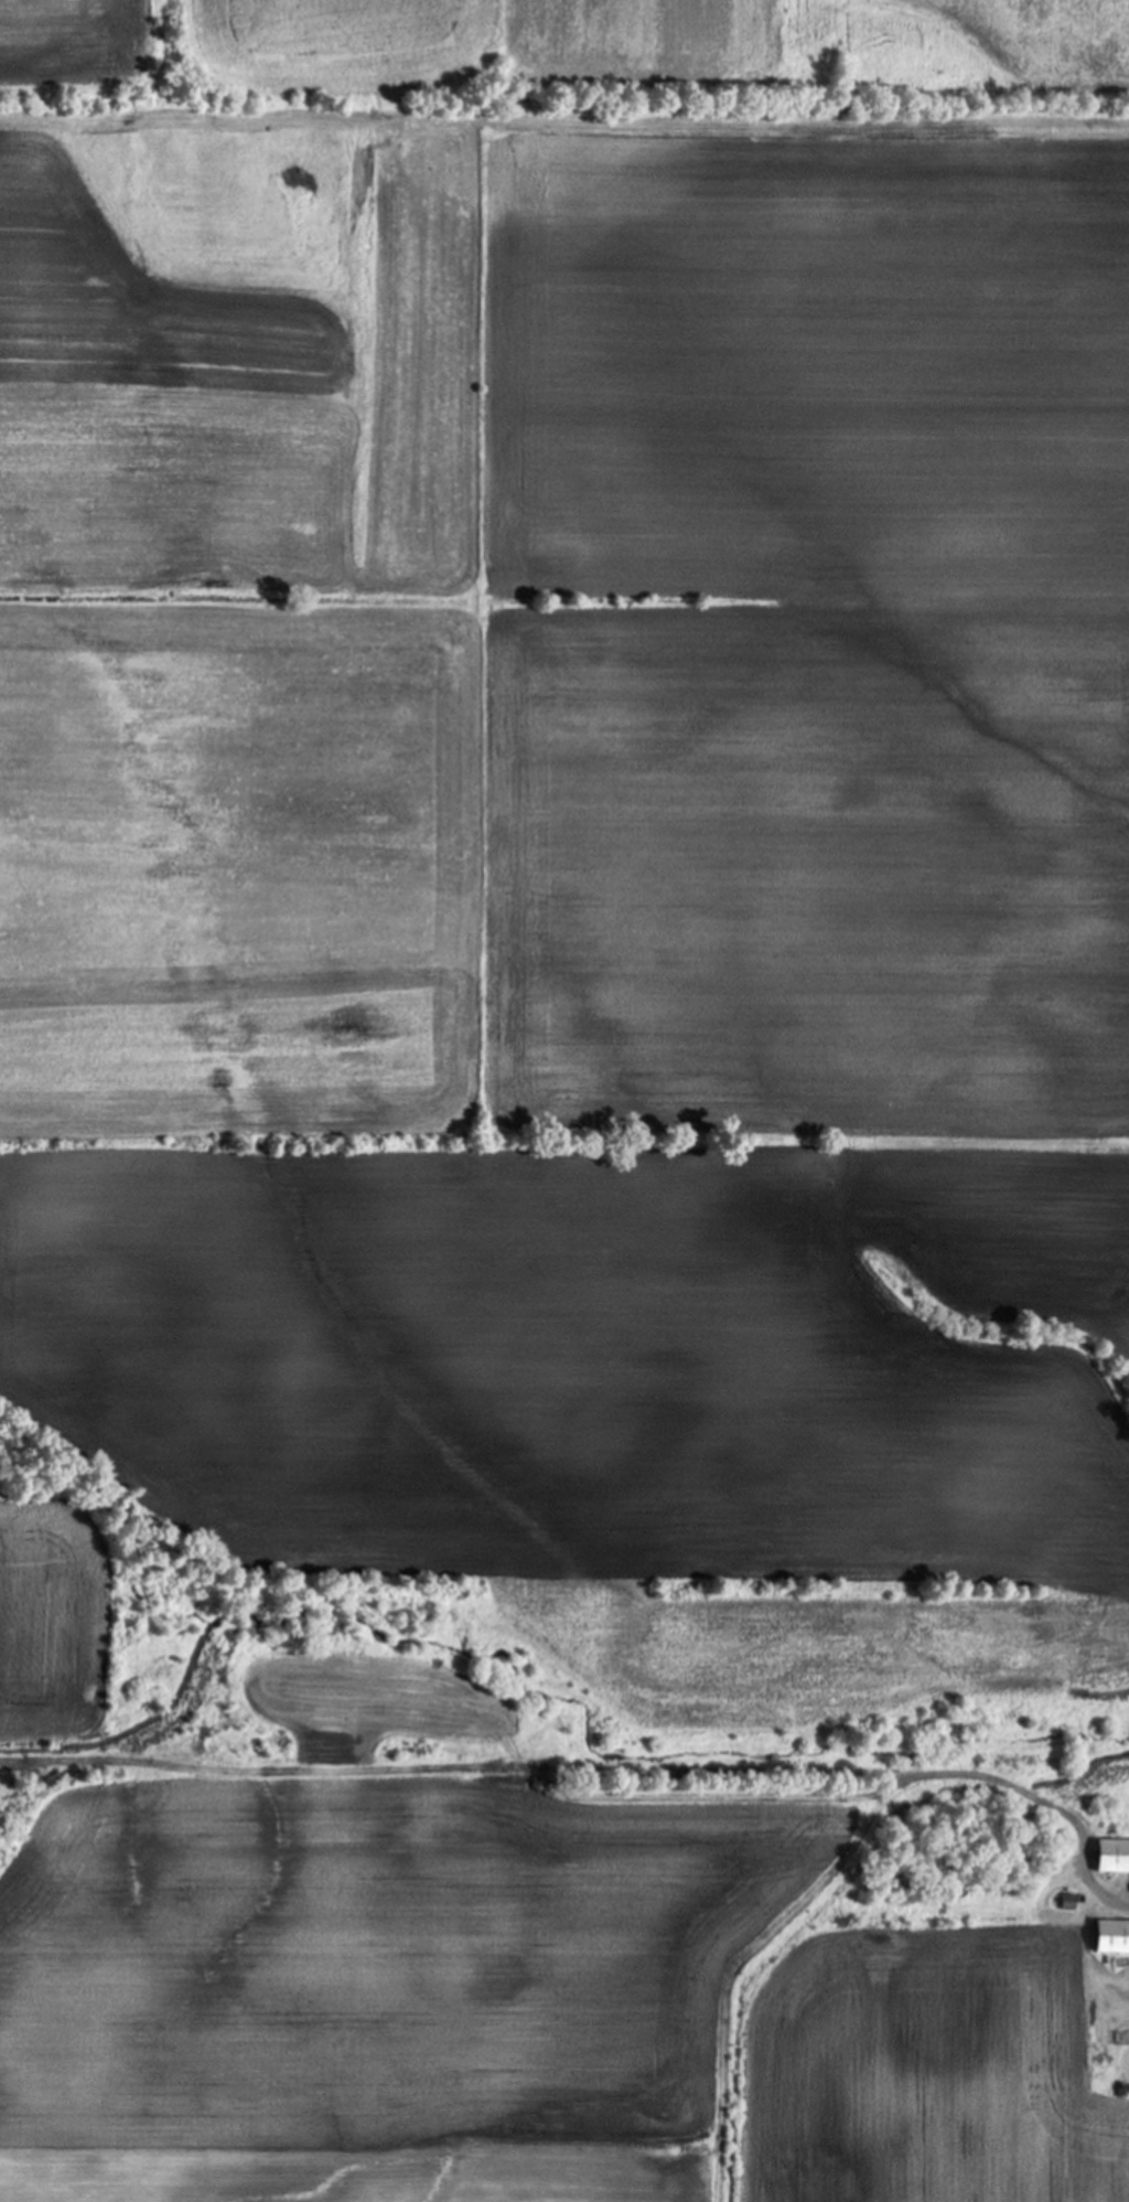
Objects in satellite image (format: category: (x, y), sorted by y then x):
building: (1110, 1854)
road: (1094, 1893)
building: (1109, 1935)

